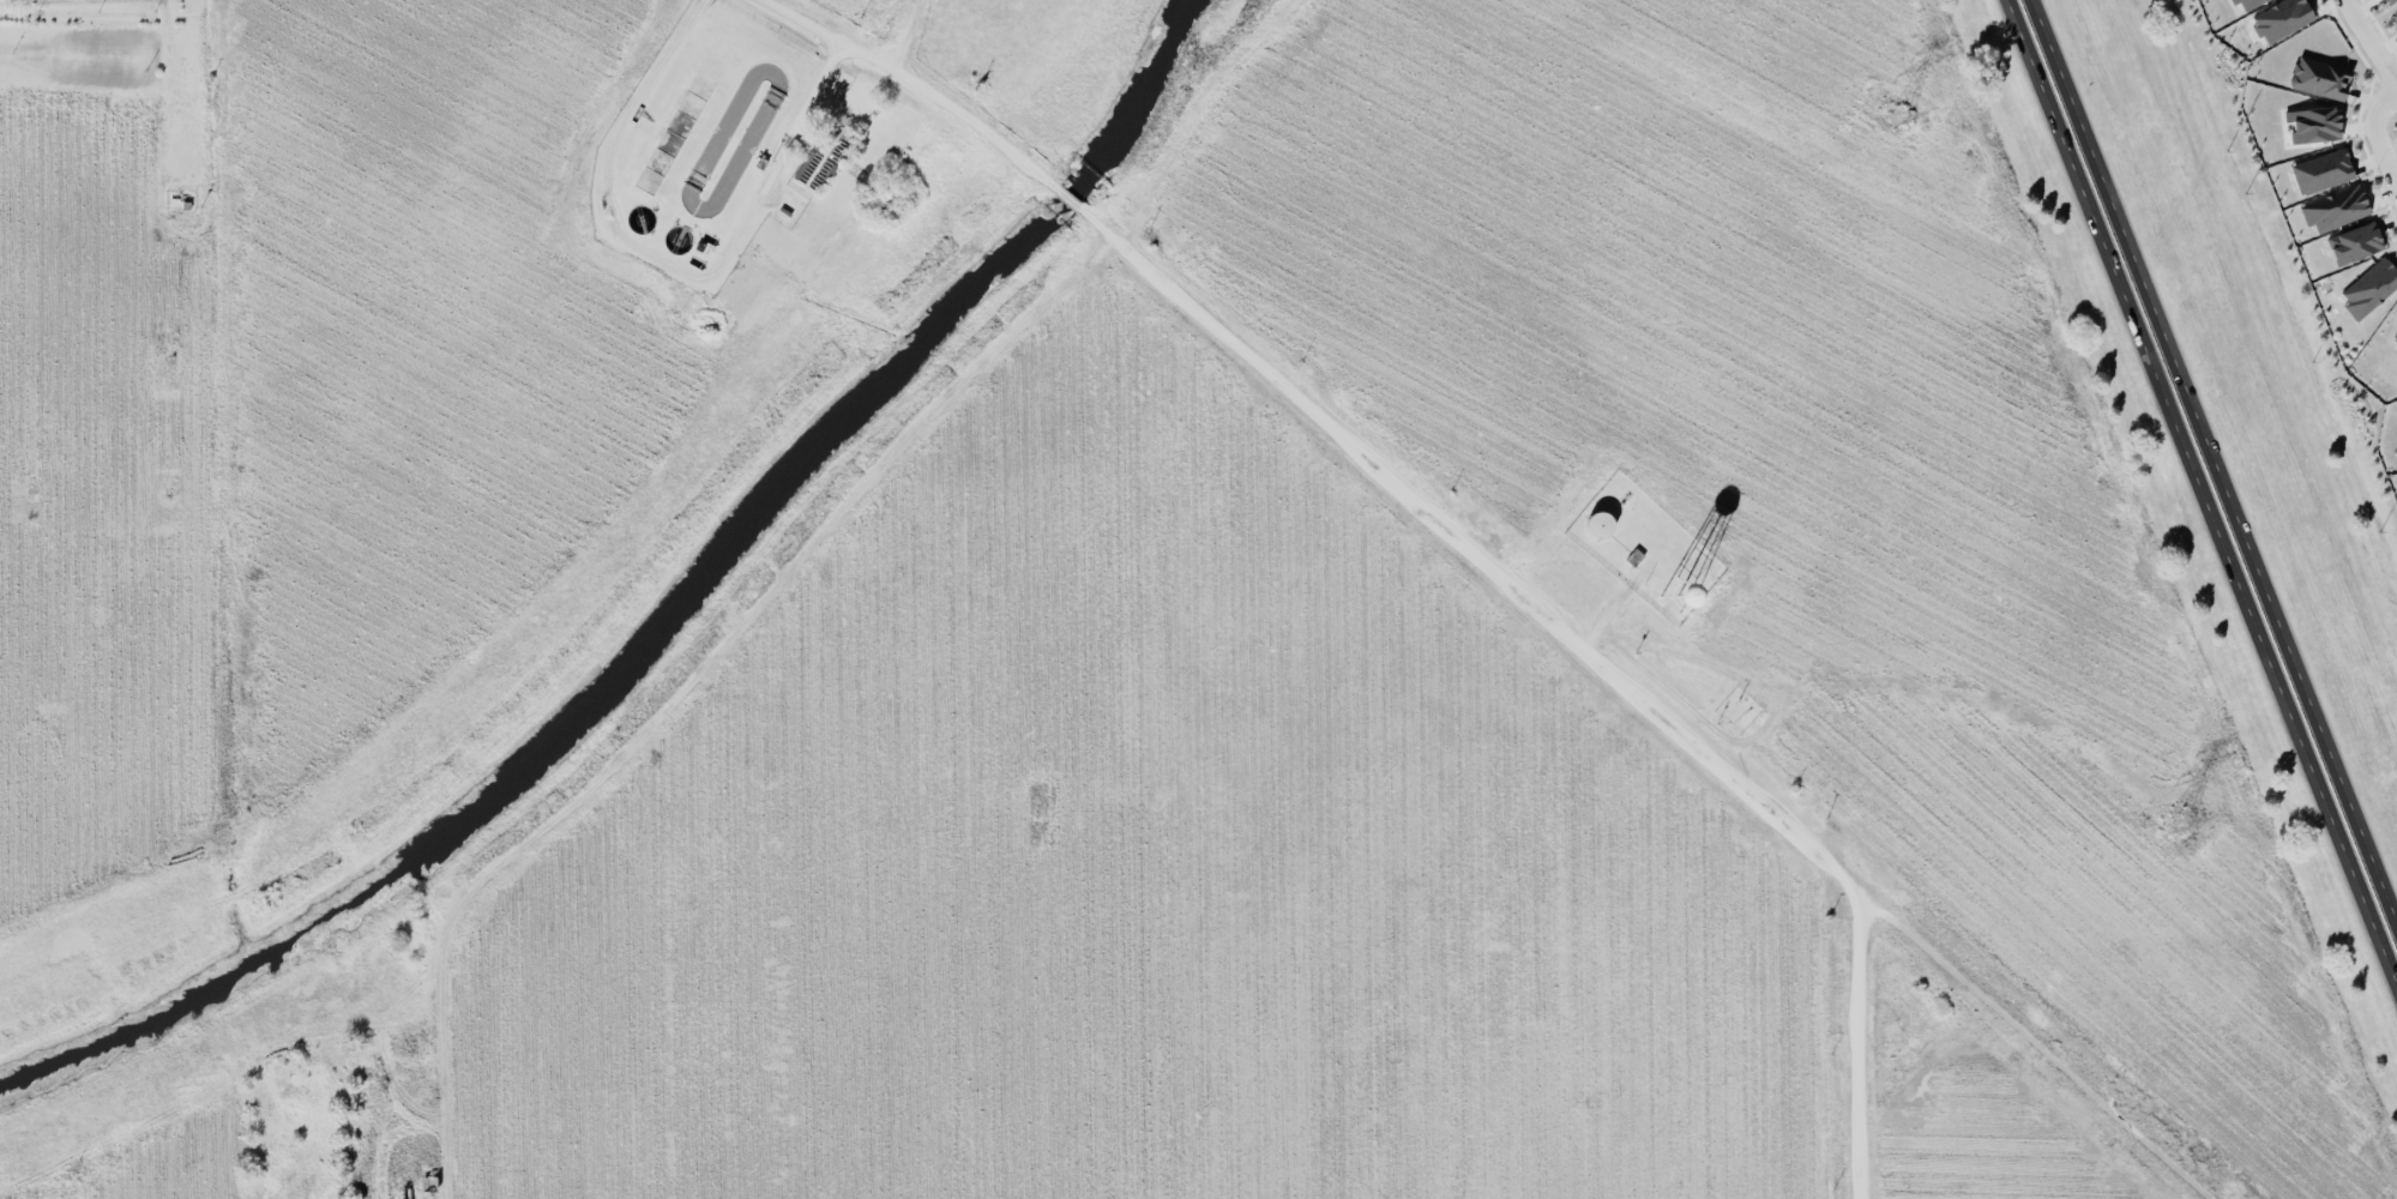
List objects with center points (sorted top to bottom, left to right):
building: (2387, 0)
building: (2246, 2)
building: (2281, 18)
road: (907, 29)
road: (2367, 42)
building: (2319, 77)
road: (928, 84)
power tower: (1893, 116)
building: (2312, 122)
road: (2377, 134)
wastewater plant: (707, 140)
building: (2320, 169)
road: (1068, 198)
building: (2333, 207)
building: (2354, 241)
road: (669, 263)
building: (2369, 287)
building: (2395, 333)
road: (2215, 457)
road: (2202, 488)
river: (667, 626)
road: (707, 697)
road: (1649, 700)
crop: (1369, 707)
power tower: (2173, 824)
road: (1860, 1041)
crop: (1993, 1137)

